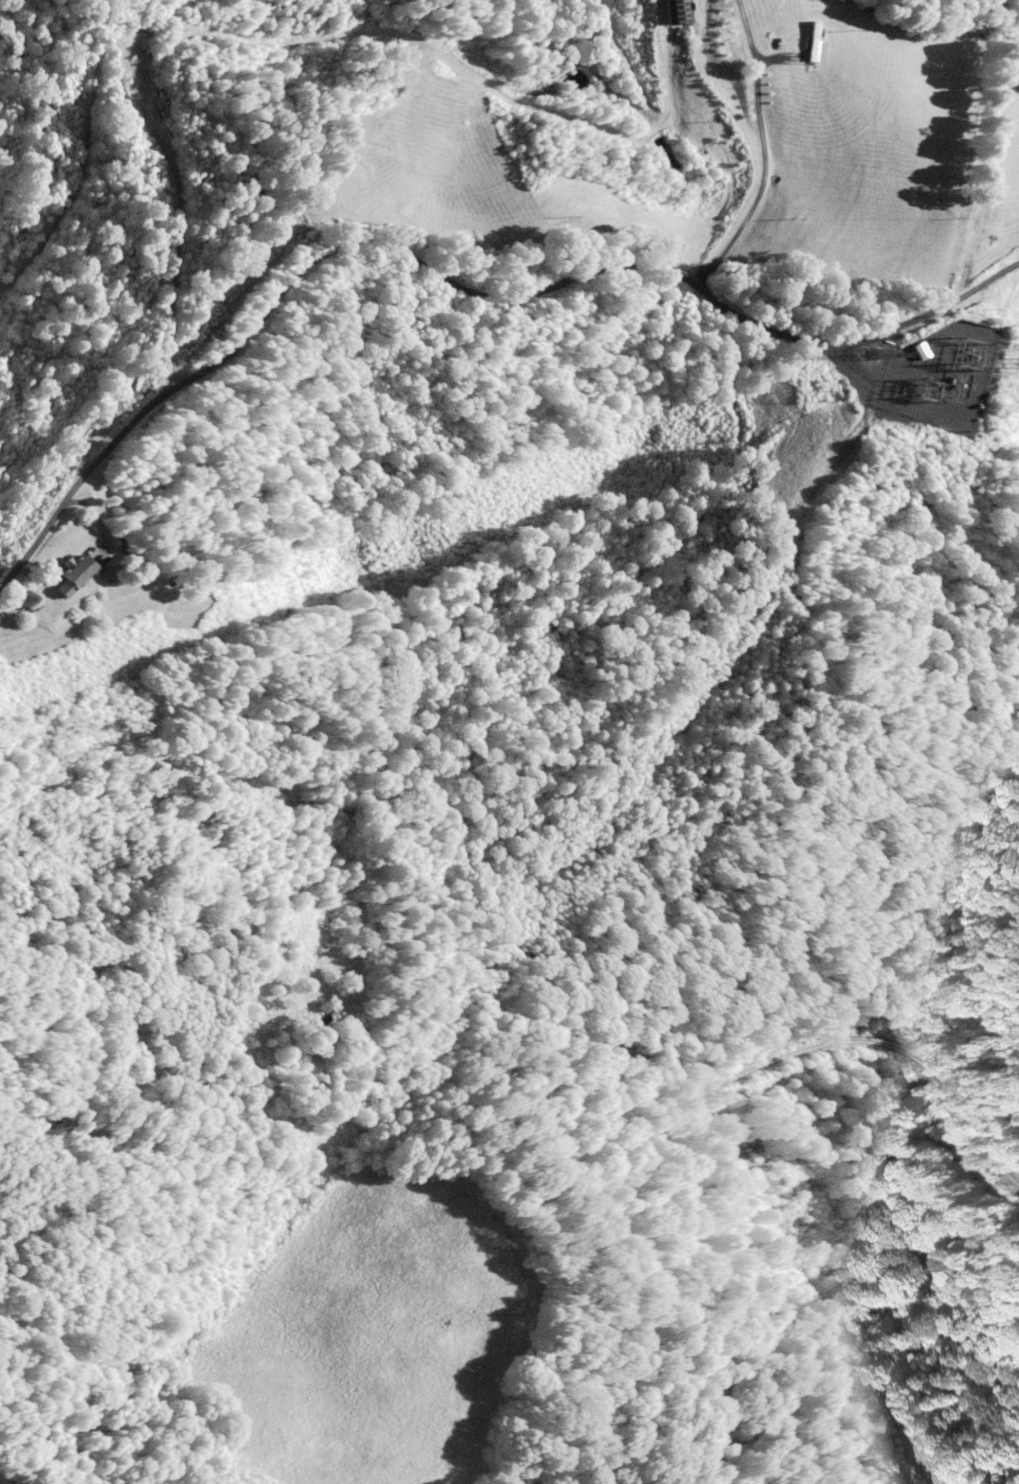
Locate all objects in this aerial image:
building: (678, 12)
building: (813, 40)
road: (763, 151)
road: (454, 285)
power substation: (939, 368)
building: (69, 575)
road: (717, 1130)
road: (69, 1473)
building: (0, 1483)

